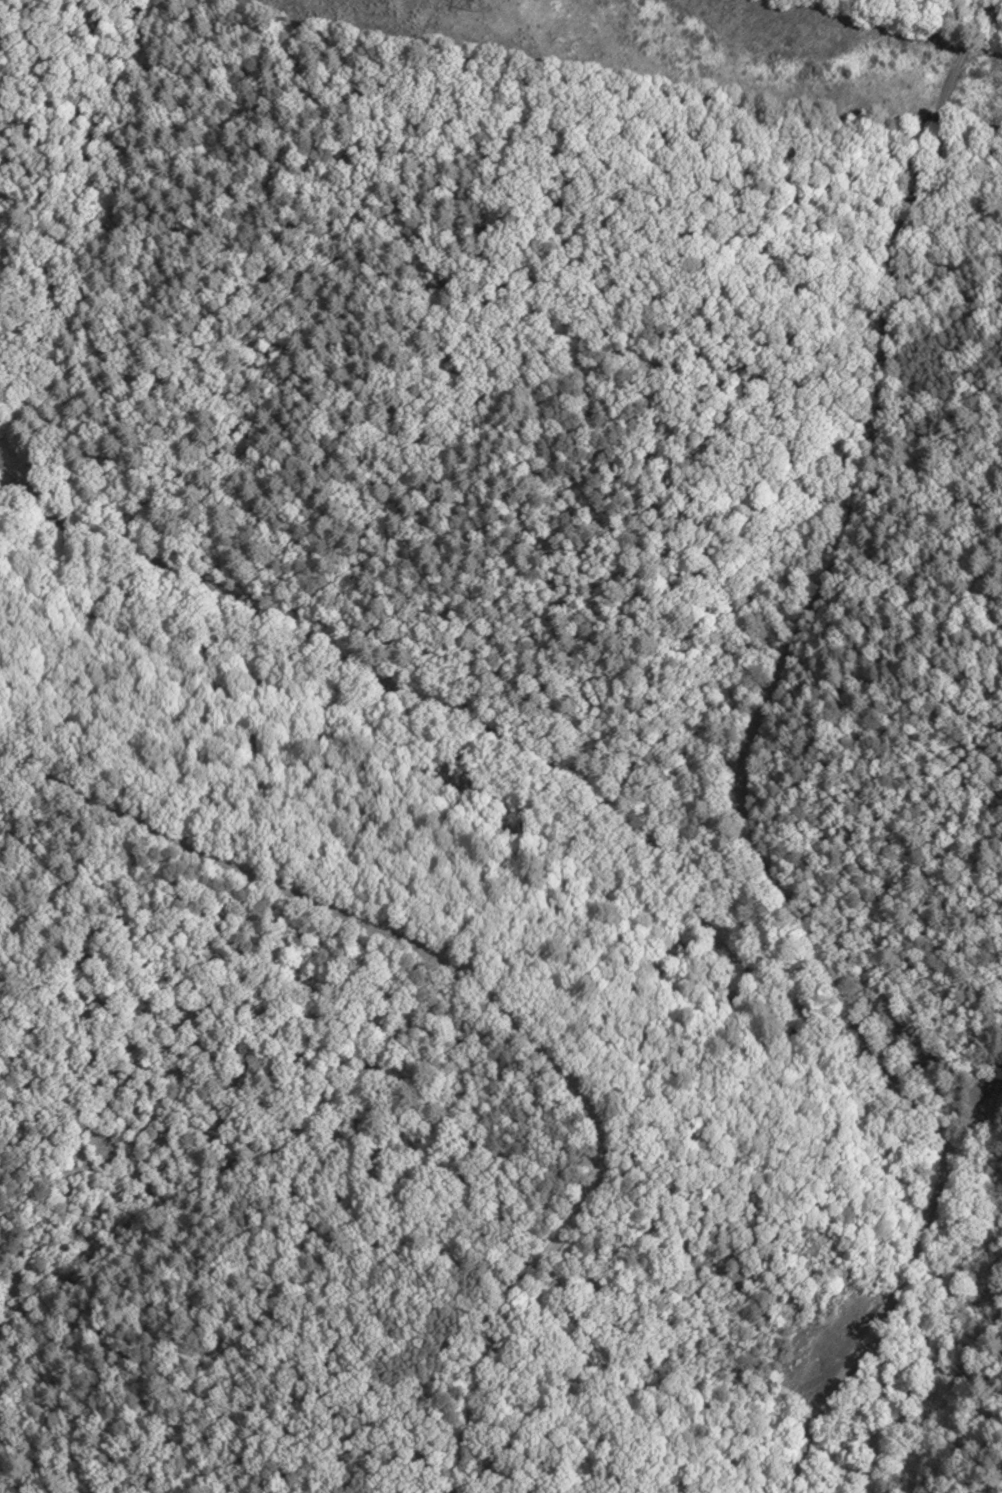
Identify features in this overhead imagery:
power tower: (474, 6)
road: (470, 728)
road: (744, 759)
road: (499, 1007)
road: (823, 1403)

